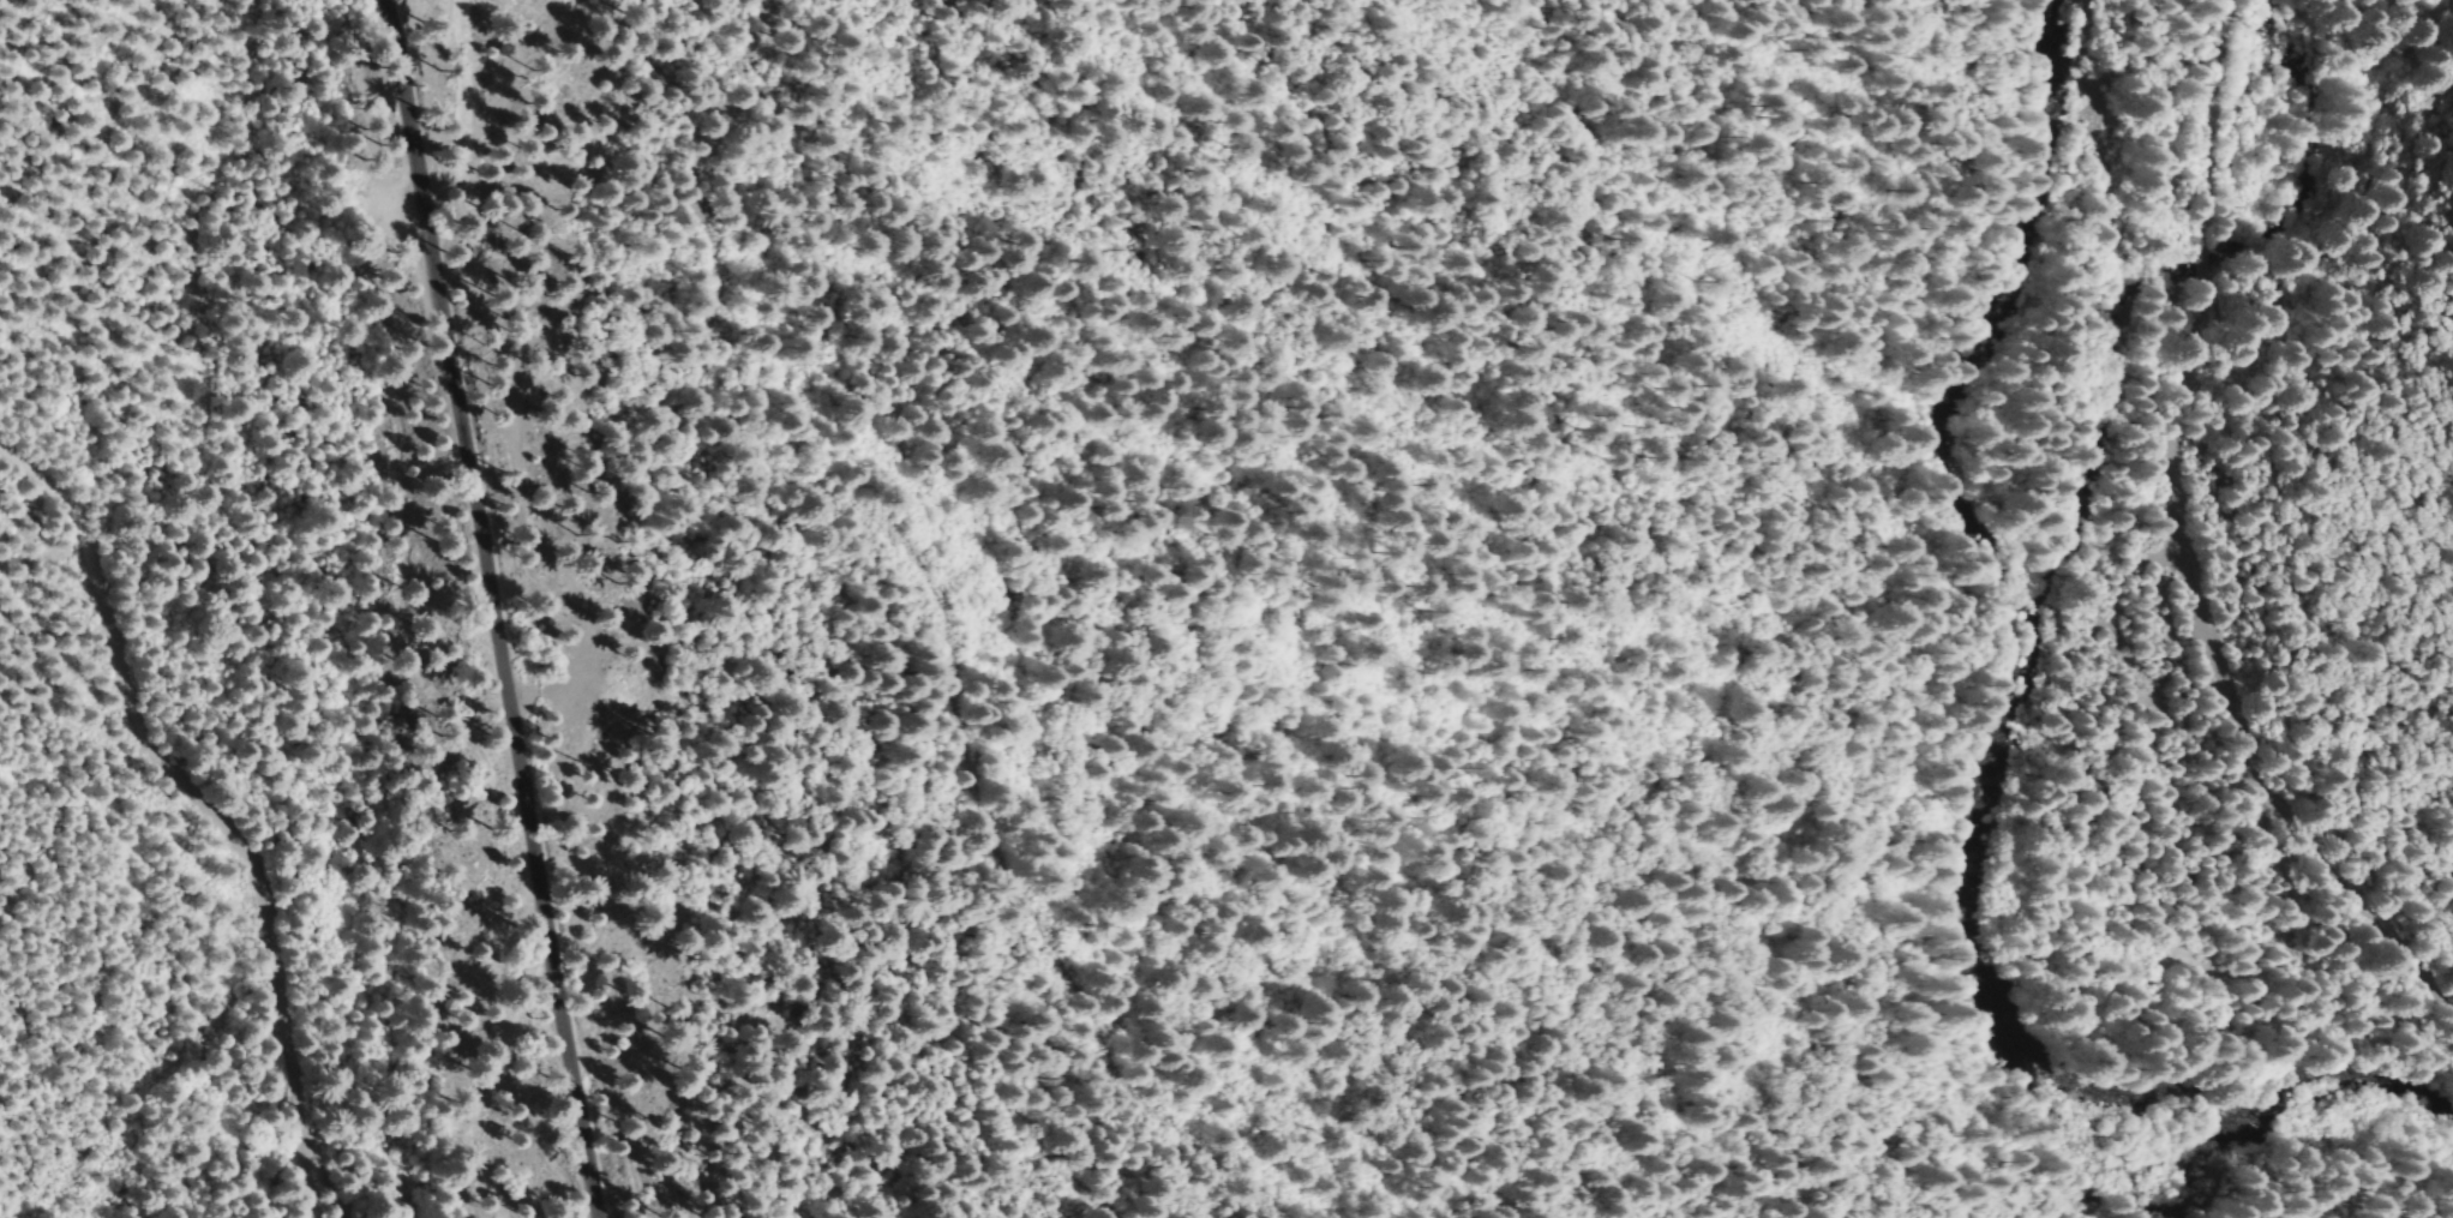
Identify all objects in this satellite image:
road: (2140, 553)
road: (491, 607)
road: (917, 610)
river: (1977, 775)
road: (208, 806)

